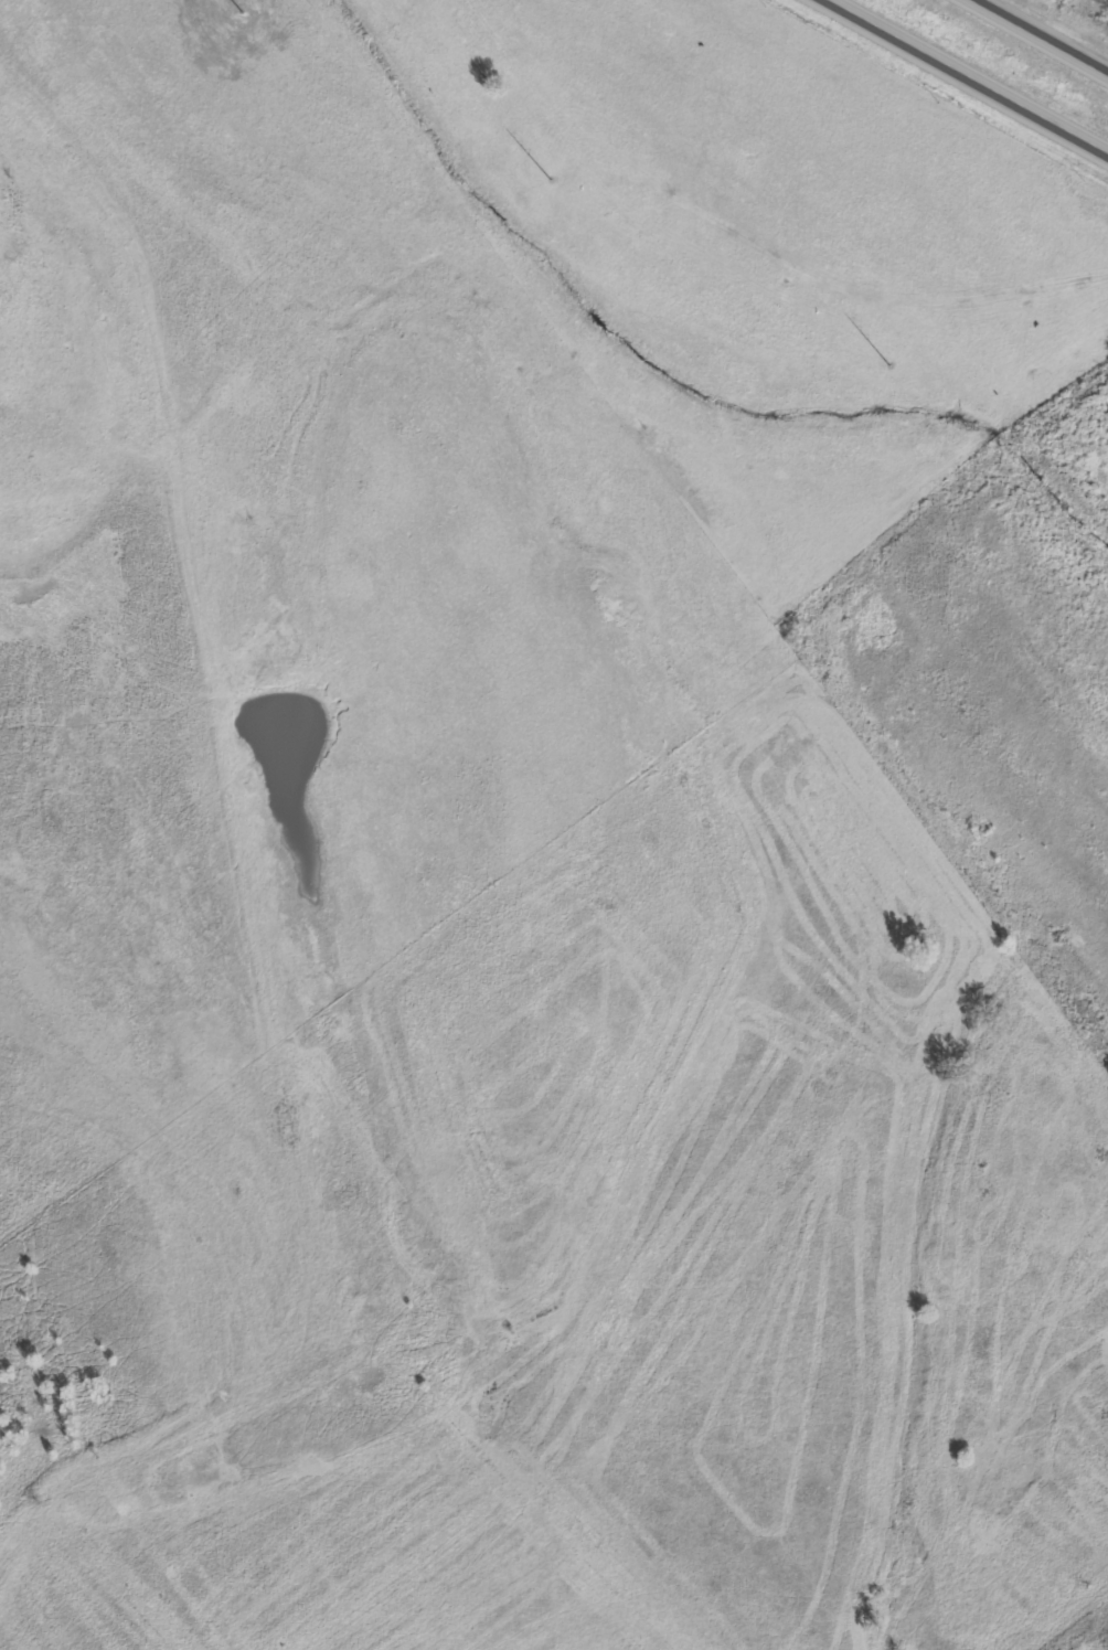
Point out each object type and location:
road: (1040, 36)
road: (965, 78)

